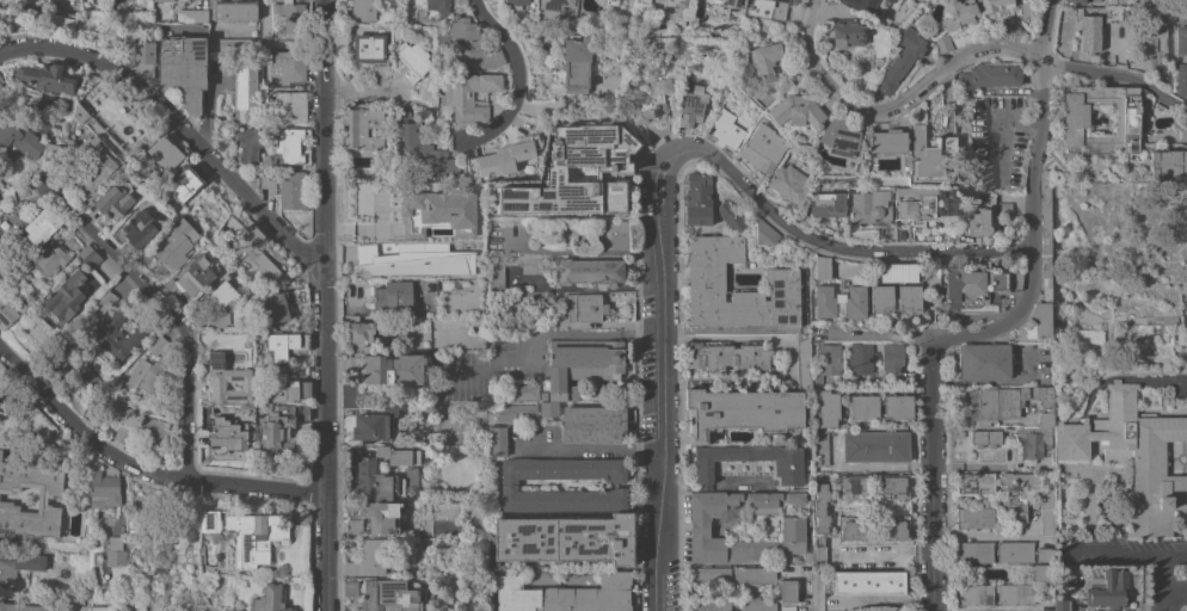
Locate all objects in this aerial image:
building: (162, 0)
road: (191, 0)
building: (1095, 0)
building: (611, 1)
building: (1074, 1)
building: (1143, 2)
building: (516, 4)
building: (554, 4)
building: (670, 4)
building: (725, 4)
building: (992, 4)
building: (1113, 4)
building: (869, 6)
building: (768, 7)
building: (436, 8)
building: (234, 10)
building: (363, 10)
building: (958, 13)
building: (1114, 14)
building: (192, 16)
building: (1158, 16)
building: (62, 17)
building: (288, 17)
building: (1182, 19)
building: (152, 27)
building: (848, 32)
building: (1090, 33)
building: (945, 43)
building: (232, 45)
building: (368, 48)
building: (471, 48)
building: (144, 57)
building: (902, 58)
building: (1163, 58)
building: (413, 60)
building: (1181, 61)
building: (577, 63)
building: (290, 64)
building: (768, 64)
building: (183, 68)
building: (379, 72)
road: (1117, 73)
building: (990, 75)
building: (45, 78)
building: (1, 79)
road: (517, 80)
building: (1, 88)
road: (361, 92)
building: (245, 93)
building: (471, 95)
building: (691, 104)
building: (290, 106)
building: (650, 106)
road: (891, 110)
building: (797, 111)
building: (1075, 116)
building: (359, 126)
road: (174, 128)
building: (726, 129)
road: (1001, 131)
building: (1182, 132)
building: (839, 136)
building: (19, 140)
building: (887, 141)
building: (289, 144)
building: (247, 146)
building: (51, 150)
building: (761, 150)
building: (164, 152)
building: (426, 153)
building: (928, 155)
building: (504, 156)
building: (1169, 162)
building: (70, 167)
building: (613, 168)
building: (187, 179)
building: (267, 184)
building: (787, 184)
building: (291, 190)
building: (699, 198)
building: (112, 202)
building: (826, 204)
building: (868, 205)
building: (928, 205)
building: (1004, 205)
road: (1033, 205)
building: (439, 211)
building: (732, 216)
building: (972, 224)
building: (41, 227)
building: (139, 228)
building: (764, 233)
building: (887, 233)
building: (242, 234)
building: (610, 234)
building: (902, 234)
building: (174, 243)
road: (838, 245)
building: (84, 251)
road: (585, 251)
building: (49, 258)
building: (92, 259)
building: (412, 261)
building: (531, 265)
building: (260, 266)
building: (822, 267)
building: (588, 270)
building: (1041, 270)
building: (894, 273)
building: (1, 274)
building: (193, 276)
building: (496, 276)
building: (706, 277)
road: (590, 286)
building: (425, 288)
building: (978, 288)
building: (64, 294)
building: (393, 294)
building: (220, 295)
building: (246, 295)
building: (881, 297)
building: (910, 298)
building: (839, 301)
building: (102, 303)
building: (283, 303)
road: (324, 304)
building: (583, 305)
road: (167, 310)
building: (6, 313)
building: (216, 320)
building: (1169, 320)
road: (541, 332)
building: (357, 334)
building: (116, 337)
road: (709, 337)
building: (490, 339)
building: (155, 344)
building: (284, 344)
road: (788, 345)
building: (727, 356)
building: (860, 358)
building: (893, 360)
building: (826, 362)
building: (984, 362)
building: (580, 364)
building: (804, 366)
building: (393, 369)
building: (147, 376)
road: (664, 376)
road: (1168, 376)
building: (225, 381)
building: (534, 382)
building: (285, 388)
building: (349, 394)
building: (543, 397)
building: (995, 403)
building: (1044, 403)
building: (113, 406)
building: (863, 407)
building: (898, 407)
building: (548, 408)
building: (300, 409)
building: (829, 409)
building: (515, 412)
building: (742, 412)
building: (38, 424)
building: (373, 425)
building: (592, 425)
building: (153, 426)
building: (278, 431)
building: (227, 433)
building: (122, 434)
building: (985, 438)
building: (497, 440)
building: (1032, 442)
building: (875, 446)
road: (588, 450)
building: (819, 451)
building: (393, 455)
building: (1132, 456)
road: (140, 469)
building: (788, 469)
road: (930, 473)
building: (1017, 479)
building: (1060, 480)
building: (373, 481)
building: (509, 485)
building: (974, 485)
road: (738, 486)
building: (892, 486)
road: (681, 487)
road: (705, 487)
building: (854, 487)
building: (103, 489)
building: (50, 493)
building: (1016, 505)
building: (822, 507)
building: (1046, 512)
building: (382, 517)
building: (974, 517)
building: (208, 521)
building: (1101, 524)
building: (352, 526)
building: (854, 527)
building: (892, 527)
building: (793, 529)
road: (982, 535)
building: (253, 537)
building: (565, 539)
road: (1124, 548)
building: (819, 551)
building: (973, 551)
building: (1014, 551)
building: (1044, 555)
building: (115, 557)
building: (369, 558)
building: (18, 564)
building: (1043, 573)
road: (1163, 573)
building: (708, 575)
building: (754, 575)
building: (868, 582)
building: (1107, 587)
building: (350, 588)
building: (787, 591)
road: (817, 593)
building: (974, 594)
building: (1015, 594)
building: (390, 595)
building: (565, 595)
road: (1179, 597)
building: (269, 599)
building: (1062, 603)
building: (754, 604)
road: (1169, 604)
building: (708, 605)
building: (103, 606)
building: (24, 607)
building: (786, 607)
building: (226, 609)

